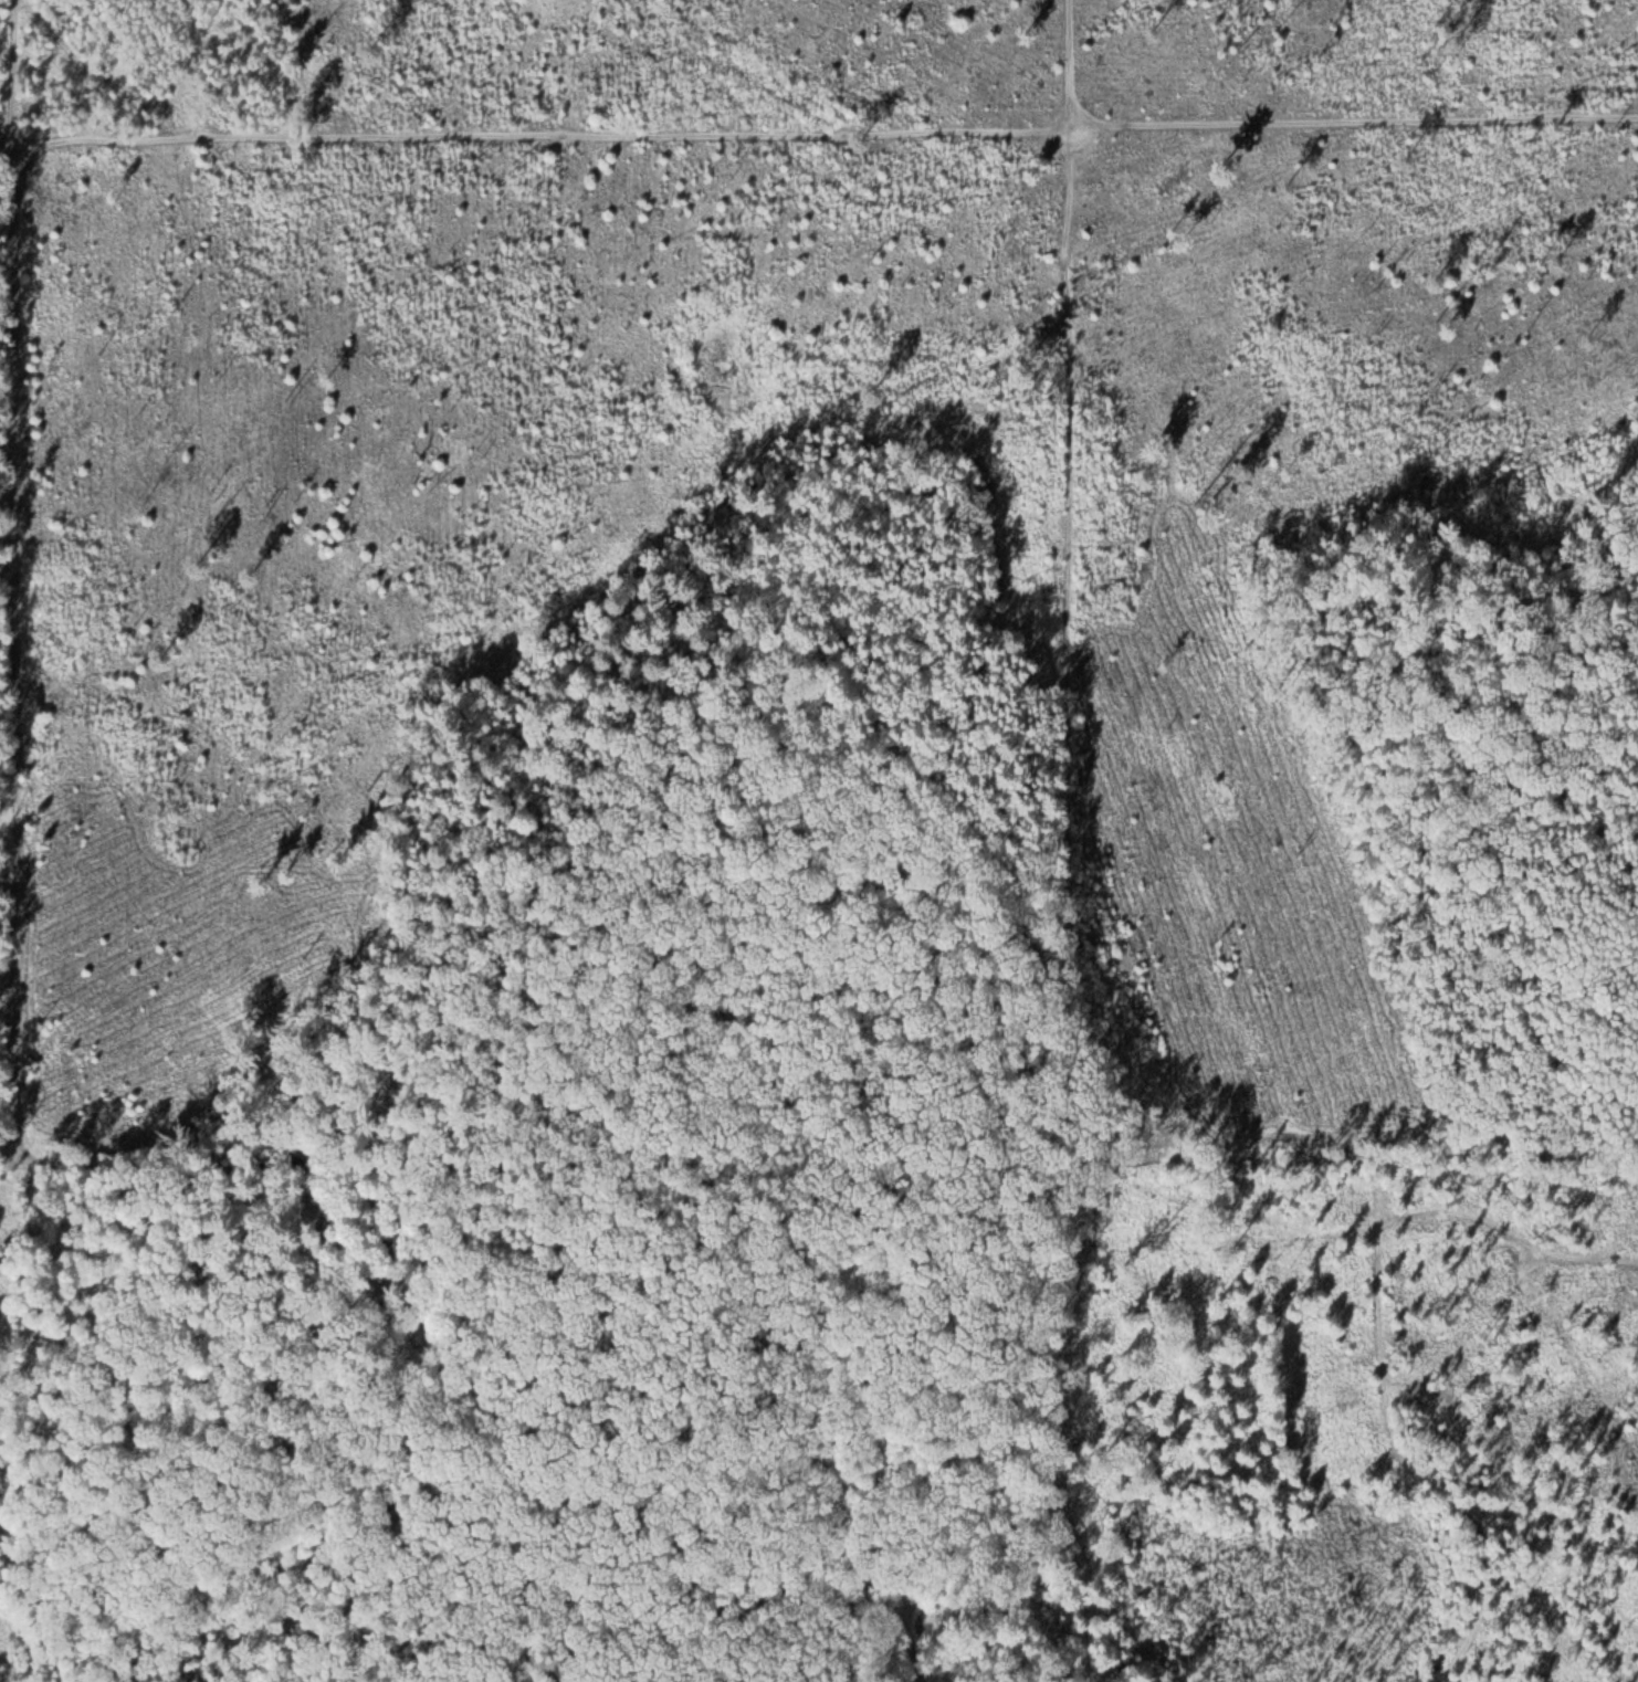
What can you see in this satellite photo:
road: (13, 67)
road: (819, 135)

